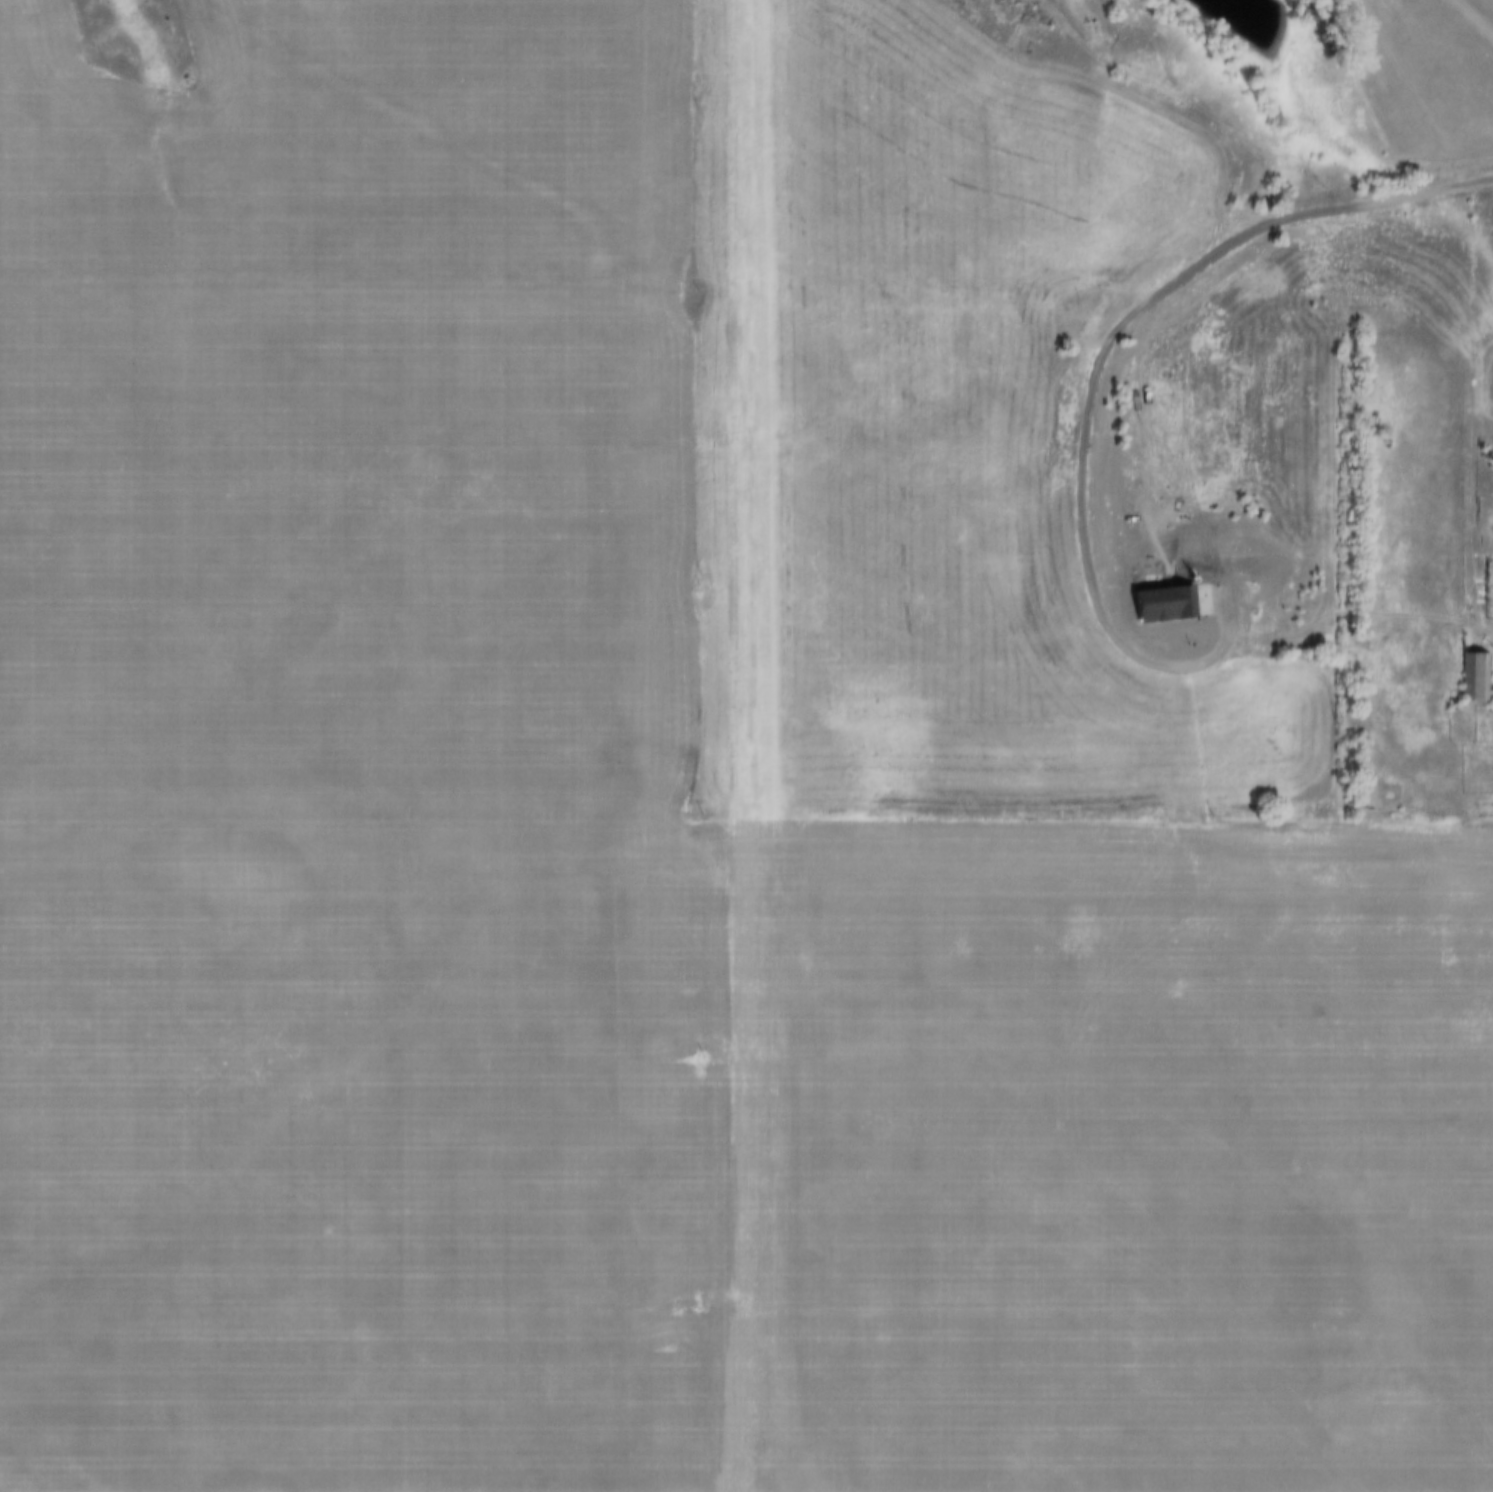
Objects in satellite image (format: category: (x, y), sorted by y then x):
road: (1470, 20)
building: (1474, 676)

